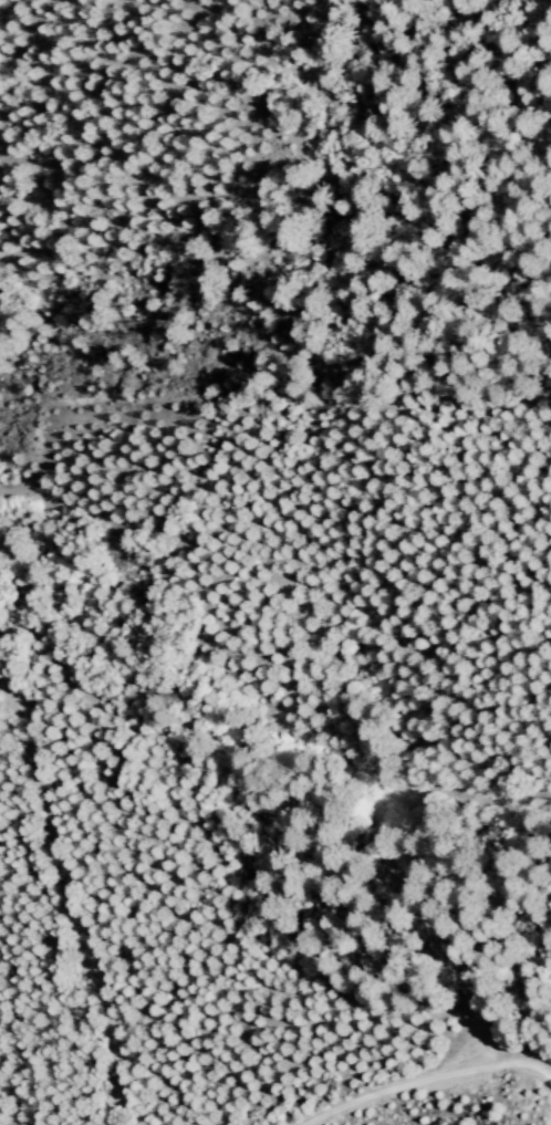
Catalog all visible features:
road: (69, 905)
road: (422, 1075)

